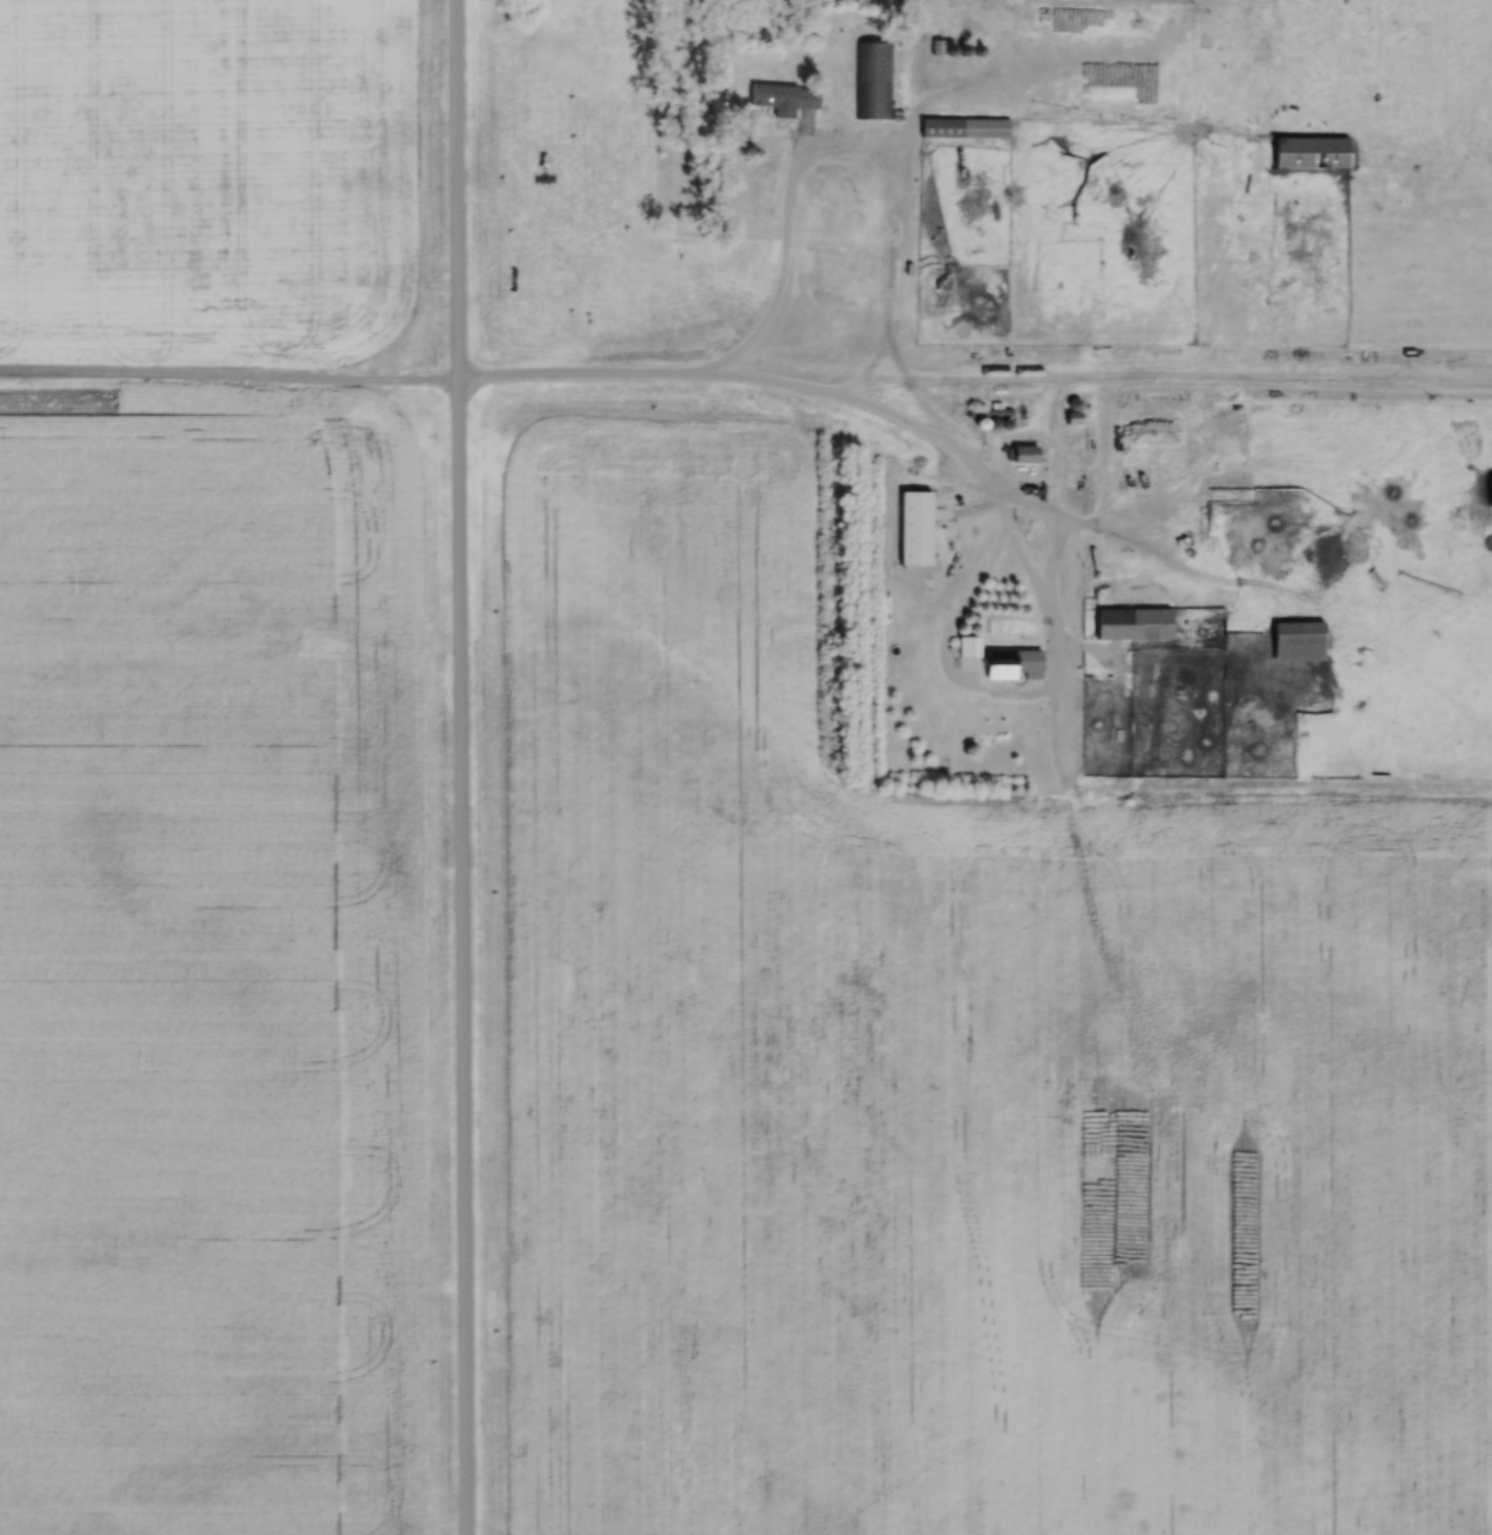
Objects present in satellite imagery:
building: (874, 82)
building: (785, 101)
building: (966, 130)
road: (793, 235)
building: (938, 276)
road: (1128, 378)
road: (615, 379)
road: (233, 382)
building: (1074, 406)
building: (1025, 455)
building: (1490, 494)
building: (916, 530)
road: (1046, 577)
building: (1134, 626)
building: (999, 662)
road: (470, 767)

